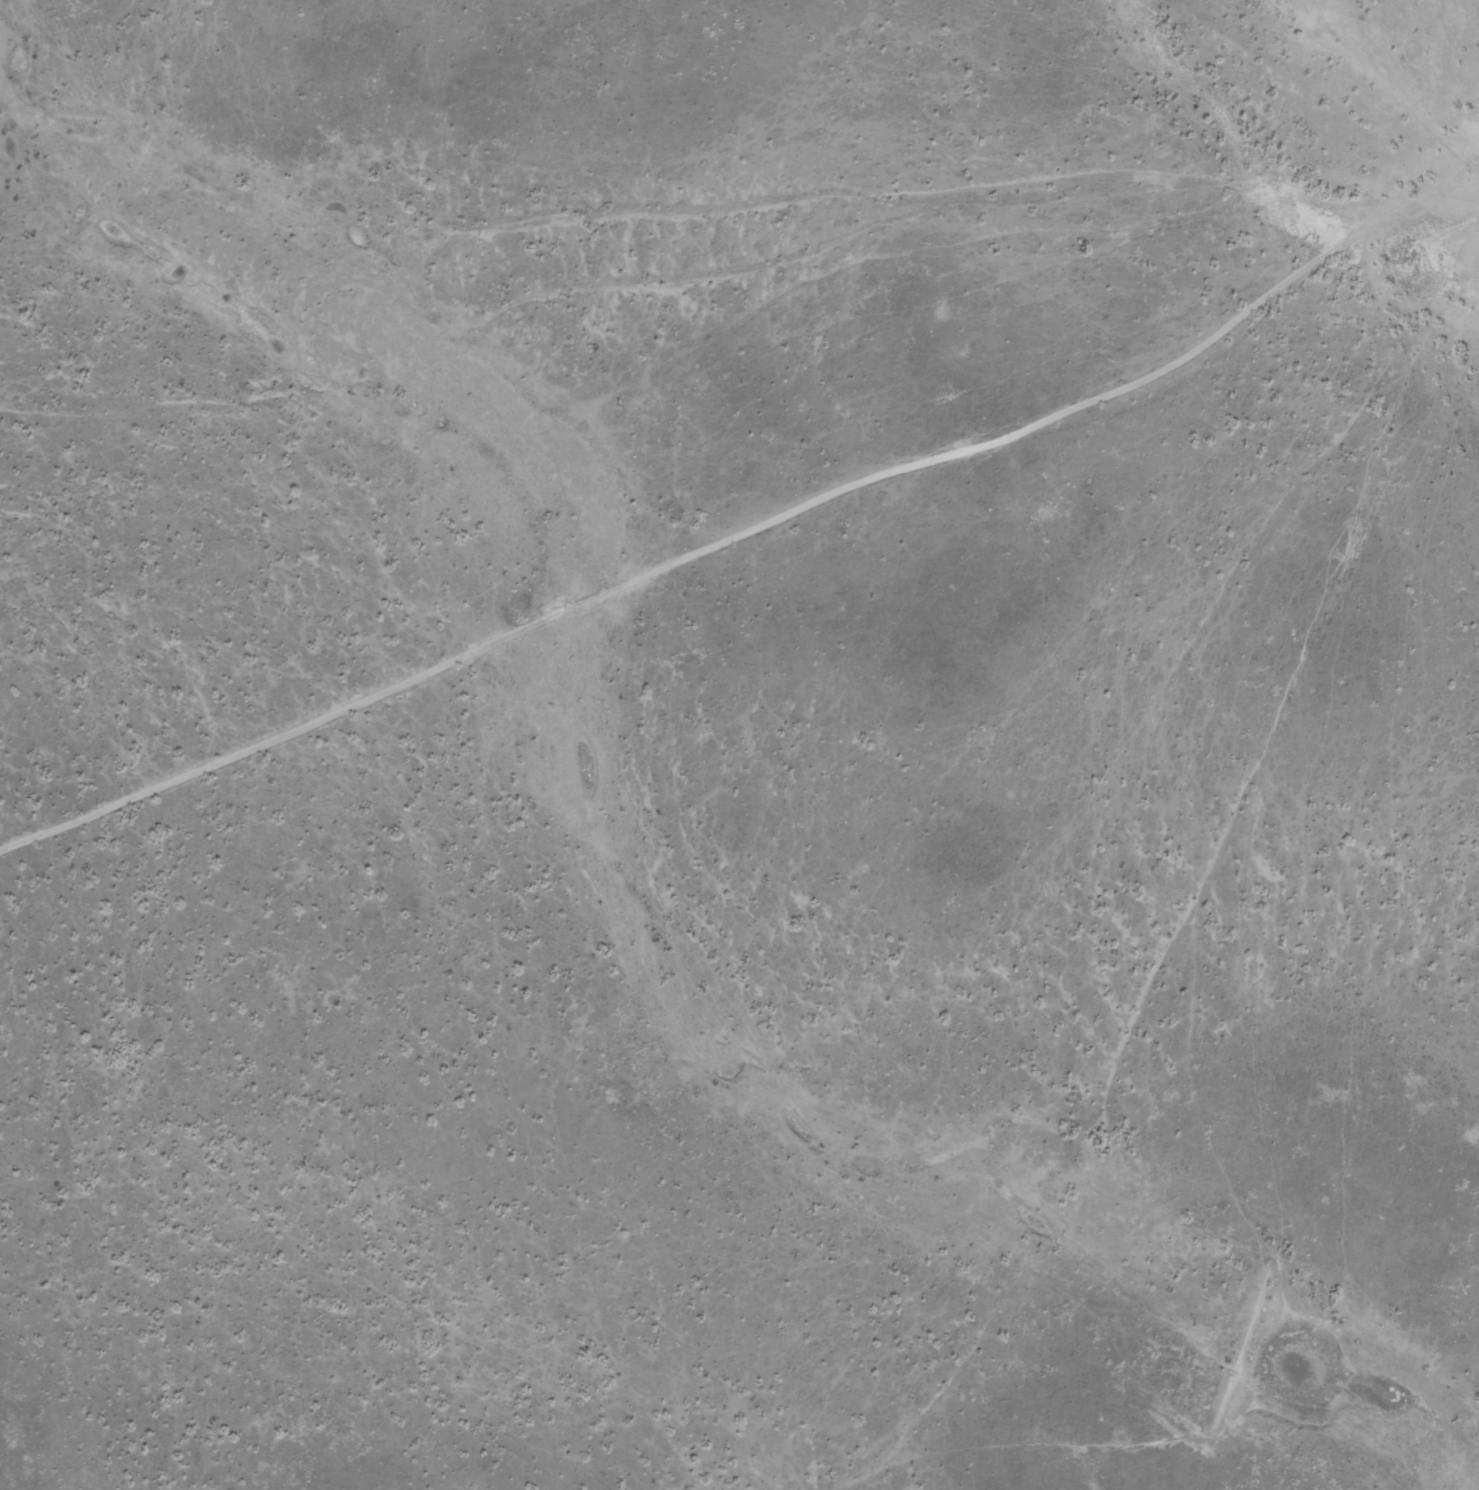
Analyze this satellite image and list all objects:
road: (1428, 74)
road: (755, 527)

